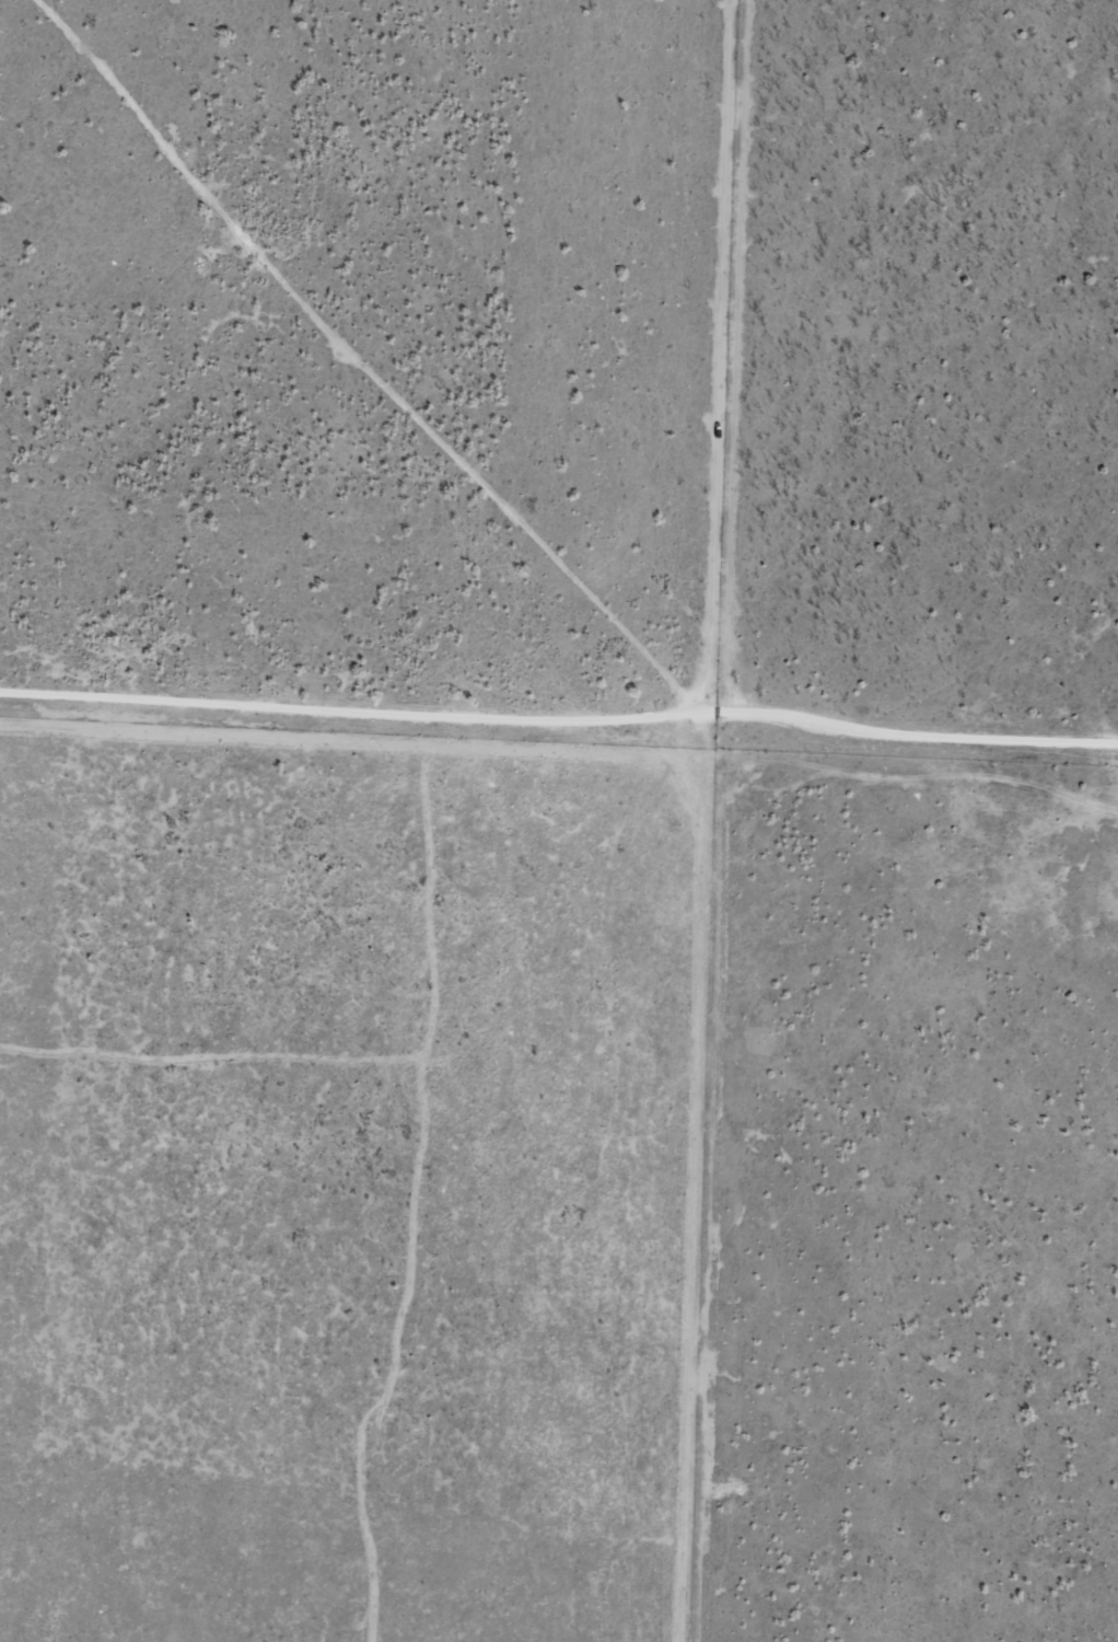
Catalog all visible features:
road: (345, 366)
road: (557, 748)

